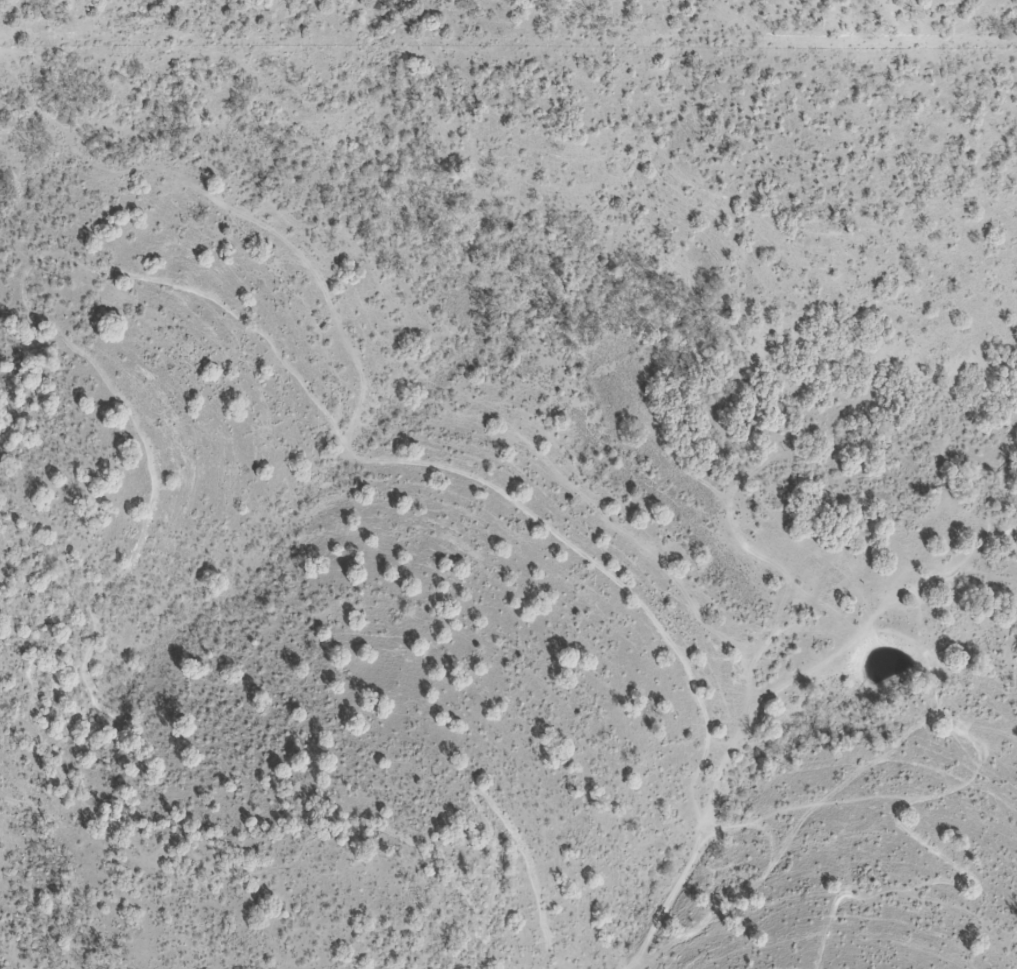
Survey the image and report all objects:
road: (665, 914)

